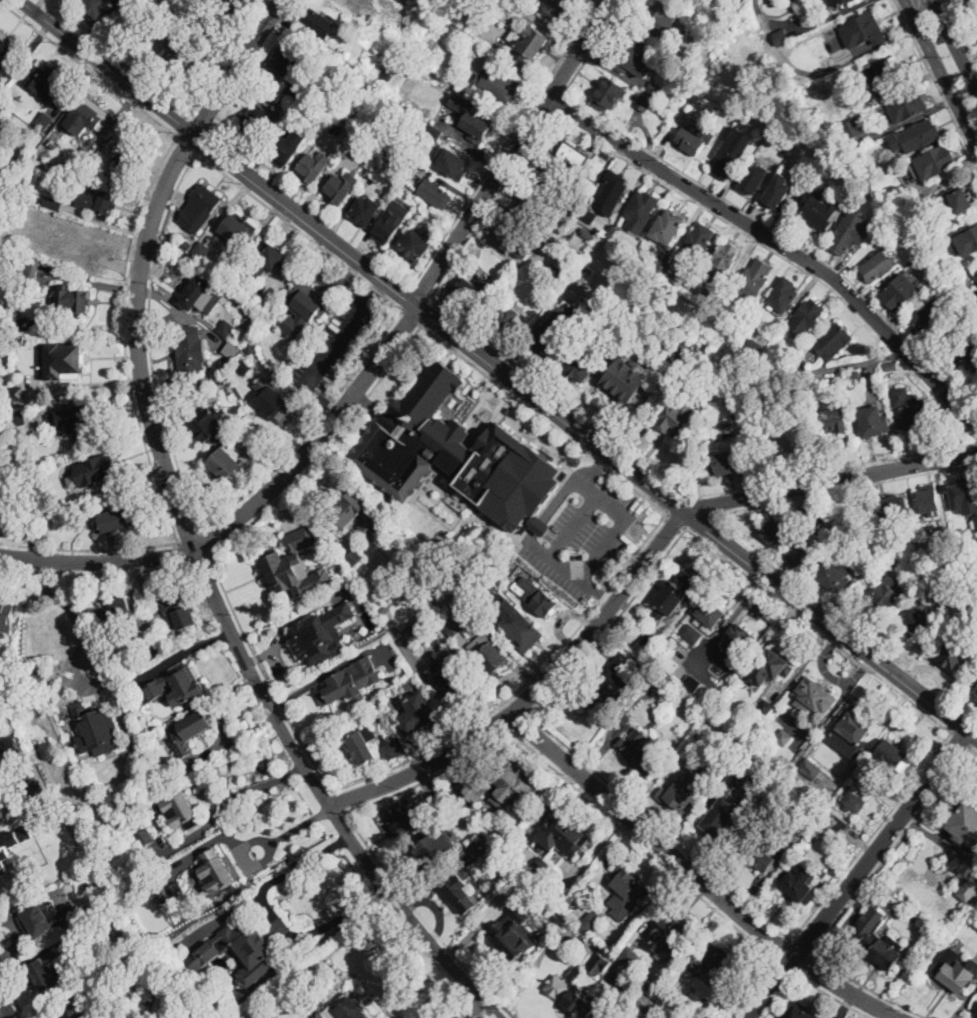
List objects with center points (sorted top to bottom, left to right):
building: (222, 0)
building: (701, 0)
building: (237, 2)
building: (839, 2)
building: (517, 4)
building: (95, 8)
building: (556, 8)
building: (365, 16)
building: (976, 16)
building: (221, 17)
building: (509, 20)
building: (659, 21)
building: (318, 22)
road: (805, 25)
building: (976, 25)
building: (863, 30)
road: (960, 35)
building: (781, 38)
building: (434, 43)
building: (530, 43)
road: (954, 45)
road: (594, 48)
building: (7, 50)
building: (181, 56)
building: (398, 56)
building: (636, 59)
building: (291, 61)
building: (829, 61)
building: (351, 64)
road: (107, 67)
road: (237, 67)
road: (88, 69)
road: (941, 72)
building: (883, 74)
building: (45, 82)
road: (936, 84)
building: (501, 85)
building: (295, 89)
building: (452, 90)
building: (654, 90)
building: (609, 95)
road: (559, 104)
building: (641, 104)
building: (866, 105)
building: (908, 105)
building: (309, 108)
building: (86, 116)
building: (13, 120)
building: (44, 121)
building: (257, 121)
building: (477, 125)
building: (738, 126)
building: (857, 126)
building: (434, 130)
building: (738, 135)
building: (916, 135)
building: (695, 140)
building: (359, 144)
road: (187, 145)
building: (287, 148)
building: (786, 152)
road: (515, 153)
building: (607, 154)
building: (85, 156)
building: (575, 156)
road: (497, 158)
building: (729, 159)
building: (129, 161)
building: (936, 162)
building: (454, 163)
building: (424, 165)
building: (311, 169)
building: (550, 177)
building: (754, 179)
building: (341, 187)
building: (612, 191)
building: (436, 194)
building: (778, 197)
building: (955, 201)
building: (99, 202)
building: (51, 203)
building: (572, 203)
building: (201, 207)
building: (366, 207)
building: (532, 208)
building: (640, 210)
building: (820, 210)
building: (41, 216)
building: (589, 216)
building: (669, 224)
building: (388, 227)
building: (237, 230)
building: (611, 231)
building: (849, 232)
building: (588, 234)
road: (785, 236)
building: (514, 237)
building: (698, 241)
building: (967, 242)
road: (780, 243)
building: (188, 244)
building: (415, 246)
building: (76, 248)
building: (202, 250)
building: (19, 256)
road: (781, 256)
building: (4, 259)
building: (722, 261)
building: (269, 262)
building: (878, 267)
building: (556, 270)
building: (755, 279)
road: (378, 290)
building: (470, 292)
building: (901, 292)
building: (203, 294)
building: (784, 294)
building: (710, 296)
road: (407, 298)
building: (72, 300)
building: (969, 300)
building: (270, 305)
building: (304, 308)
road: (425, 313)
road: (412, 318)
building: (806, 318)
building: (502, 319)
building: (248, 320)
building: (926, 322)
road: (391, 327)
building: (227, 328)
road: (467, 330)
building: (733, 333)
building: (551, 336)
road: (125, 338)
road: (150, 340)
building: (835, 340)
road: (337, 341)
building: (753, 346)
building: (250, 347)
building: (231, 349)
building: (961, 350)
building: (681, 354)
building: (191, 355)
building: (69, 360)
building: (582, 361)
building: (801, 363)
building: (891, 367)
building: (854, 375)
building: (627, 378)
building: (217, 382)
building: (838, 388)
building: (16, 389)
road: (322, 397)
building: (279, 408)
building: (754, 413)
building: (675, 416)
building: (917, 416)
building: (18, 419)
road: (544, 419)
building: (834, 419)
building: (78, 420)
building: (875, 422)
building: (207, 423)
building: (242, 434)
road: (586, 436)
building: (429, 439)
building: (790, 441)
road: (326, 451)
building: (229, 462)
building: (728, 462)
road: (831, 470)
building: (101, 472)
road: (593, 474)
road: (828, 480)
road: (843, 487)
building: (21, 492)
road: (561, 493)
building: (0, 494)
road: (598, 495)
building: (965, 496)
building: (928, 500)
road: (676, 504)
road: (698, 504)
building: (894, 506)
building: (808, 507)
road: (249, 510)
building: (348, 510)
road: (696, 519)
building: (115, 520)
road: (675, 520)
building: (777, 531)
building: (885, 534)
building: (943, 534)
road: (191, 536)
road: (205, 543)
road: (90, 550)
road: (186, 553)
building: (803, 556)
building: (355, 557)
road: (200, 561)
building: (918, 561)
building: (337, 569)
building: (281, 571)
road: (95, 574)
building: (835, 574)
road: (598, 591)
building: (674, 594)
building: (537, 595)
building: (890, 595)
building: (483, 601)
building: (99, 604)
road: (220, 608)
building: (6, 611)
building: (179, 611)
building: (711, 613)
building: (972, 613)
building: (117, 617)
road: (733, 618)
building: (917, 623)
building: (420, 625)
road: (613, 625)
building: (455, 627)
building: (523, 628)
road: (817, 630)
building: (692, 633)
building: (321, 634)
building: (742, 637)
building: (650, 639)
building: (394, 644)
building: (31, 652)
road: (78, 652)
building: (954, 652)
building: (487, 653)
building: (727, 661)
building: (625, 664)
building: (770, 669)
road: (265, 675)
building: (34, 677)
building: (452, 677)
building: (655, 683)
building: (974, 683)
building: (608, 684)
building: (177, 685)
road: (525, 685)
building: (697, 685)
building: (338, 688)
road: (534, 693)
building: (814, 698)
building: (381, 701)
building: (765, 706)
building: (418, 713)
road: (519, 721)
building: (853, 726)
building: (97, 730)
building: (189, 732)
road: (500, 736)
building: (783, 737)
road: (960, 740)
building: (364, 745)
building: (12, 746)
road: (974, 750)
building: (49, 751)
building: (684, 751)
building: (639, 754)
building: (894, 756)
building: (678, 765)
building: (810, 768)
building: (745, 777)
building: (28, 783)
building: (499, 784)
building: (686, 791)
road: (229, 799)
building: (434, 799)
building: (855, 800)
road: (336, 802)
building: (180, 810)
building: (811, 813)
building: (77, 817)
building: (719, 817)
building: (409, 819)
building: (964, 823)
building: (837, 825)
road: (660, 827)
building: (565, 834)
road: (871, 836)
building: (145, 837)
building: (470, 840)
building: (11, 846)
building: (431, 848)
building: (478, 851)
road: (892, 851)
building: (760, 852)
road: (270, 853)
building: (108, 860)
building: (541, 864)
building: (566, 867)
building: (217, 872)
building: (529, 874)
road: (858, 875)
road: (696, 877)
building: (800, 884)
building: (540, 885)
building: (628, 888)
building: (968, 889)
building: (178, 893)
building: (460, 893)
road: (275, 917)
building: (48, 918)
building: (591, 922)
building: (673, 925)
building: (512, 934)
road: (802, 948)
road: (784, 949)
building: (882, 951)
building: (241, 952)
building: (631, 957)
building: (717, 962)
building: (598, 963)
road: (805, 964)
road: (787, 966)
building: (54, 971)
building: (955, 976)
road: (868, 988)
road: (12, 996)
road: (781, 996)
road: (833, 996)
road: (451, 1001)
building: (645, 1002)
building: (581, 1003)
building: (349, 1007)
building: (73, 1009)
building: (976, 1009)
building: (976, 1010)
building: (800, 1011)
road: (4, 1012)
road: (482, 1012)
building: (636, 1017)

